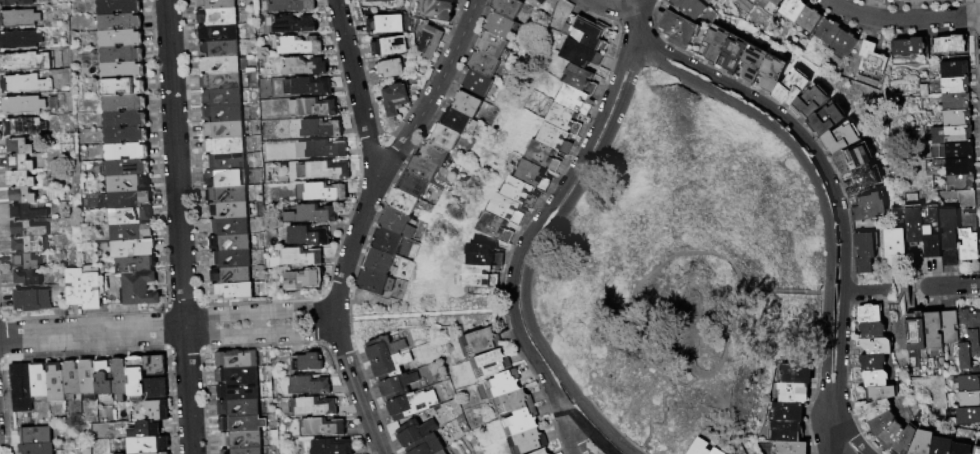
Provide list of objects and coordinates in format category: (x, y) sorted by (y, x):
building: (878, 0)
building: (882, 0)
building: (917, 0)
building: (375, 1)
building: (449, 1)
building: (540, 1)
road: (613, 2)
building: (711, 2)
building: (774, 2)
building: (17, 3)
building: (216, 4)
building: (287, 6)
building: (119, 7)
building: (688, 7)
building: (791, 8)
building: (434, 9)
building: (500, 9)
building: (218, 17)
building: (807, 18)
building: (19, 19)
road: (902, 19)
road: (636, 21)
building: (121, 23)
building: (289, 25)
building: (382, 25)
building: (493, 27)
building: (678, 28)
building: (585, 30)
building: (826, 32)
building: (217, 33)
building: (121, 39)
building: (20, 40)
building: (429, 41)
building: (842, 42)
building: (713, 43)
building: (949, 44)
building: (294, 46)
building: (910, 46)
building: (386, 47)
building: (485, 47)
building: (218, 49)
building: (581, 52)
building: (731, 53)
building: (121, 55)
building: (870, 58)
building: (26, 61)
building: (751, 62)
building: (220, 65)
building: (477, 66)
building: (299, 67)
building: (390, 68)
building: (951, 70)
building: (123, 71)
building: (769, 72)
building: (586, 78)
building: (221, 81)
building: (25, 84)
building: (471, 85)
building: (952, 86)
building: (124, 87)
building: (303, 88)
road: (435, 89)
building: (788, 89)
building: (222, 98)
building: (578, 98)
building: (392, 101)
building: (808, 102)
building: (952, 102)
building: (125, 104)
building: (23, 105)
building: (460, 106)
building: (307, 109)
building: (222, 114)
building: (566, 117)
building: (826, 119)
building: (953, 119)
building: (126, 120)
building: (451, 122)
building: (25, 127)
building: (223, 130)
building: (316, 130)
road: (781, 135)
building: (948, 135)
building: (127, 136)
building: (557, 136)
building: (438, 137)
building: (840, 137)
building: (20, 146)
building: (224, 146)
building: (316, 151)
building: (956, 151)
building: (128, 152)
road: (373, 155)
building: (428, 155)
building: (544, 155)
building: (850, 157)
building: (225, 162)
building: (21, 163)
building: (956, 167)
building: (129, 168)
building: (418, 170)
building: (297, 172)
building: (323, 172)
building: (531, 173)
building: (227, 179)
road: (829, 179)
building: (22, 180)
building: (861, 180)
building: (958, 183)
building: (129, 184)
building: (413, 189)
building: (518, 192)
building: (317, 194)
building: (227, 195)
building: (23, 196)
building: (964, 199)
building: (130, 200)
building: (395, 203)
building: (868, 206)
building: (504, 209)
building: (228, 210)
building: (30, 211)
building: (130, 216)
building: (307, 217)
building: (913, 219)
road: (554, 221)
building: (390, 224)
road: (178, 227)
building: (228, 227)
road: (533, 227)
building: (494, 228)
building: (29, 229)
building: (948, 229)
building: (931, 231)
building: (132, 233)
building: (304, 237)
building: (968, 237)
building: (380, 242)
building: (230, 243)
building: (32, 244)
building: (893, 244)
building: (863, 245)
building: (133, 248)
road: (709, 252)
building: (485, 254)
building: (231, 259)
building: (296, 259)
building: (27, 262)
building: (372, 262)
park: (680, 264)
building: (137, 265)
building: (231, 276)
building: (480, 276)
building: (28, 278)
building: (297, 282)
building: (368, 283)
road: (949, 285)
building: (75, 287)
building: (92, 289)
building: (140, 289)
road: (866, 290)
building: (232, 292)
building: (33, 300)
road: (507, 310)
road: (258, 311)
building: (870, 314)
road: (336, 319)
road: (342, 319)
road: (257, 324)
road: (624, 325)
building: (947, 326)
building: (871, 329)
building: (931, 331)
building: (914, 332)
road: (92, 333)
road: (260, 335)
road: (674, 335)
building: (968, 338)
road: (729, 339)
building: (480, 341)
building: (874, 345)
building: (380, 348)
road: (825, 355)
building: (237, 359)
building: (876, 360)
building: (306, 361)
building: (489, 364)
building: (156, 365)
building: (386, 367)
building: (792, 372)
building: (873, 376)
building: (248, 377)
building: (138, 378)
building: (121, 379)
building: (89, 380)
building: (40, 381)
building: (72, 381)
building: (105, 381)
building: (56, 383)
building: (502, 384)
building: (967, 384)
building: (309, 385)
road: (553, 385)
building: (394, 386)
building: (21, 388)
building: (157, 388)
building: (881, 391)
road: (358, 392)
building: (791, 392)
building: (249, 393)
building: (511, 400)
road: (574, 400)
building: (968, 400)
building: (311, 405)
building: (407, 405)
building: (228, 408)
building: (875, 408)
building: (158, 411)
building: (786, 412)
building: (966, 416)
building: (521, 420)
building: (879, 423)
building: (255, 426)
building: (321, 427)
road: (604, 427)
building: (148, 430)
building: (411, 432)
building: (784, 432)
road: (848, 434)
building: (35, 435)
road: (591, 435)
road: (824, 435)
building: (890, 435)
road: (835, 436)
road: (573, 438)
building: (905, 440)
building: (526, 441)
building: (252, 442)
building: (920, 442)
building: (940, 445)
building: (161, 446)
building: (332, 446)
building: (422, 446)
building: (695, 447)
building: (790, 448)
building: (960, 448)
building: (37, 449)
building: (976, 450)
building: (243, 451)
building: (541, 451)
building: (713, 451)
building: (437, 452)
building: (157, 453)
building: (166, 453)

